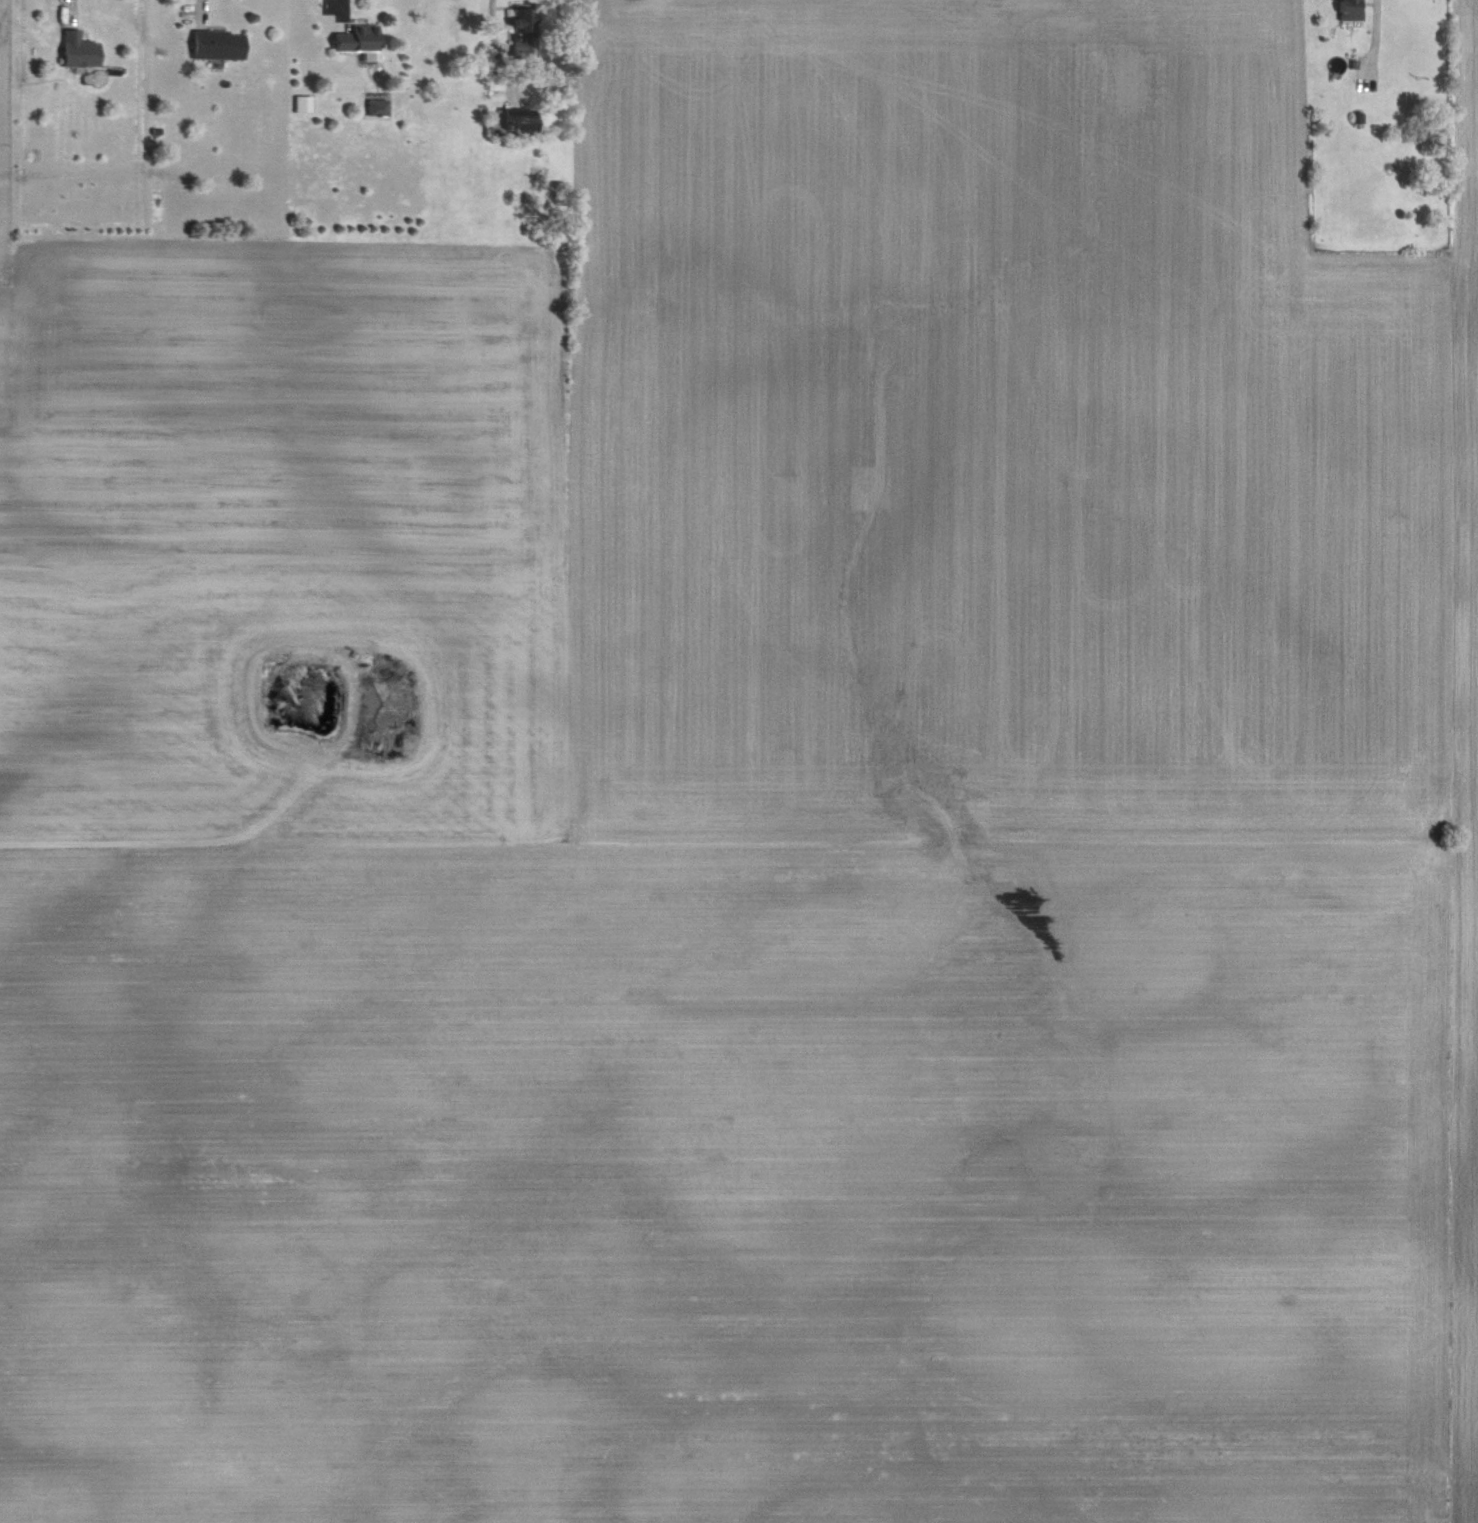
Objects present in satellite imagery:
building: (1350, 10)
building: (523, 33)
building: (356, 37)
building: (219, 45)
building: (80, 50)
building: (303, 104)
building: (509, 124)

